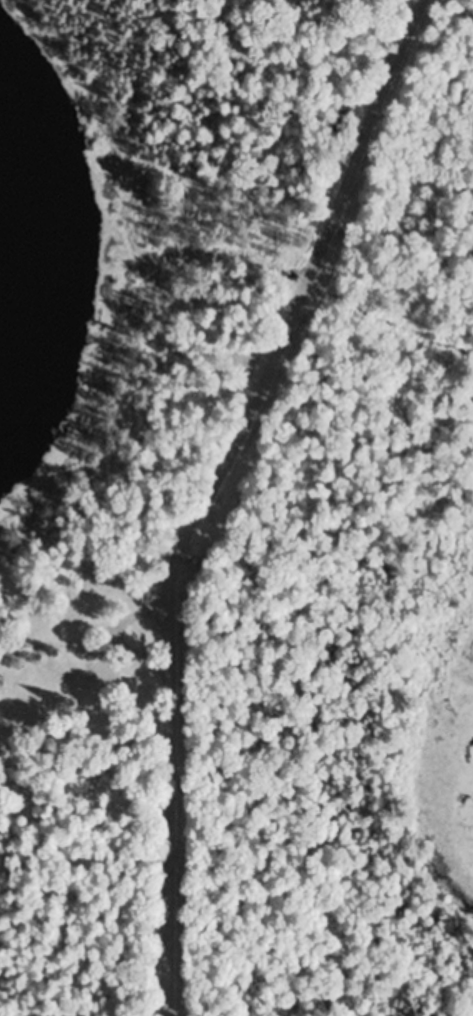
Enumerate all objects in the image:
road: (316, 276)
road: (170, 777)

